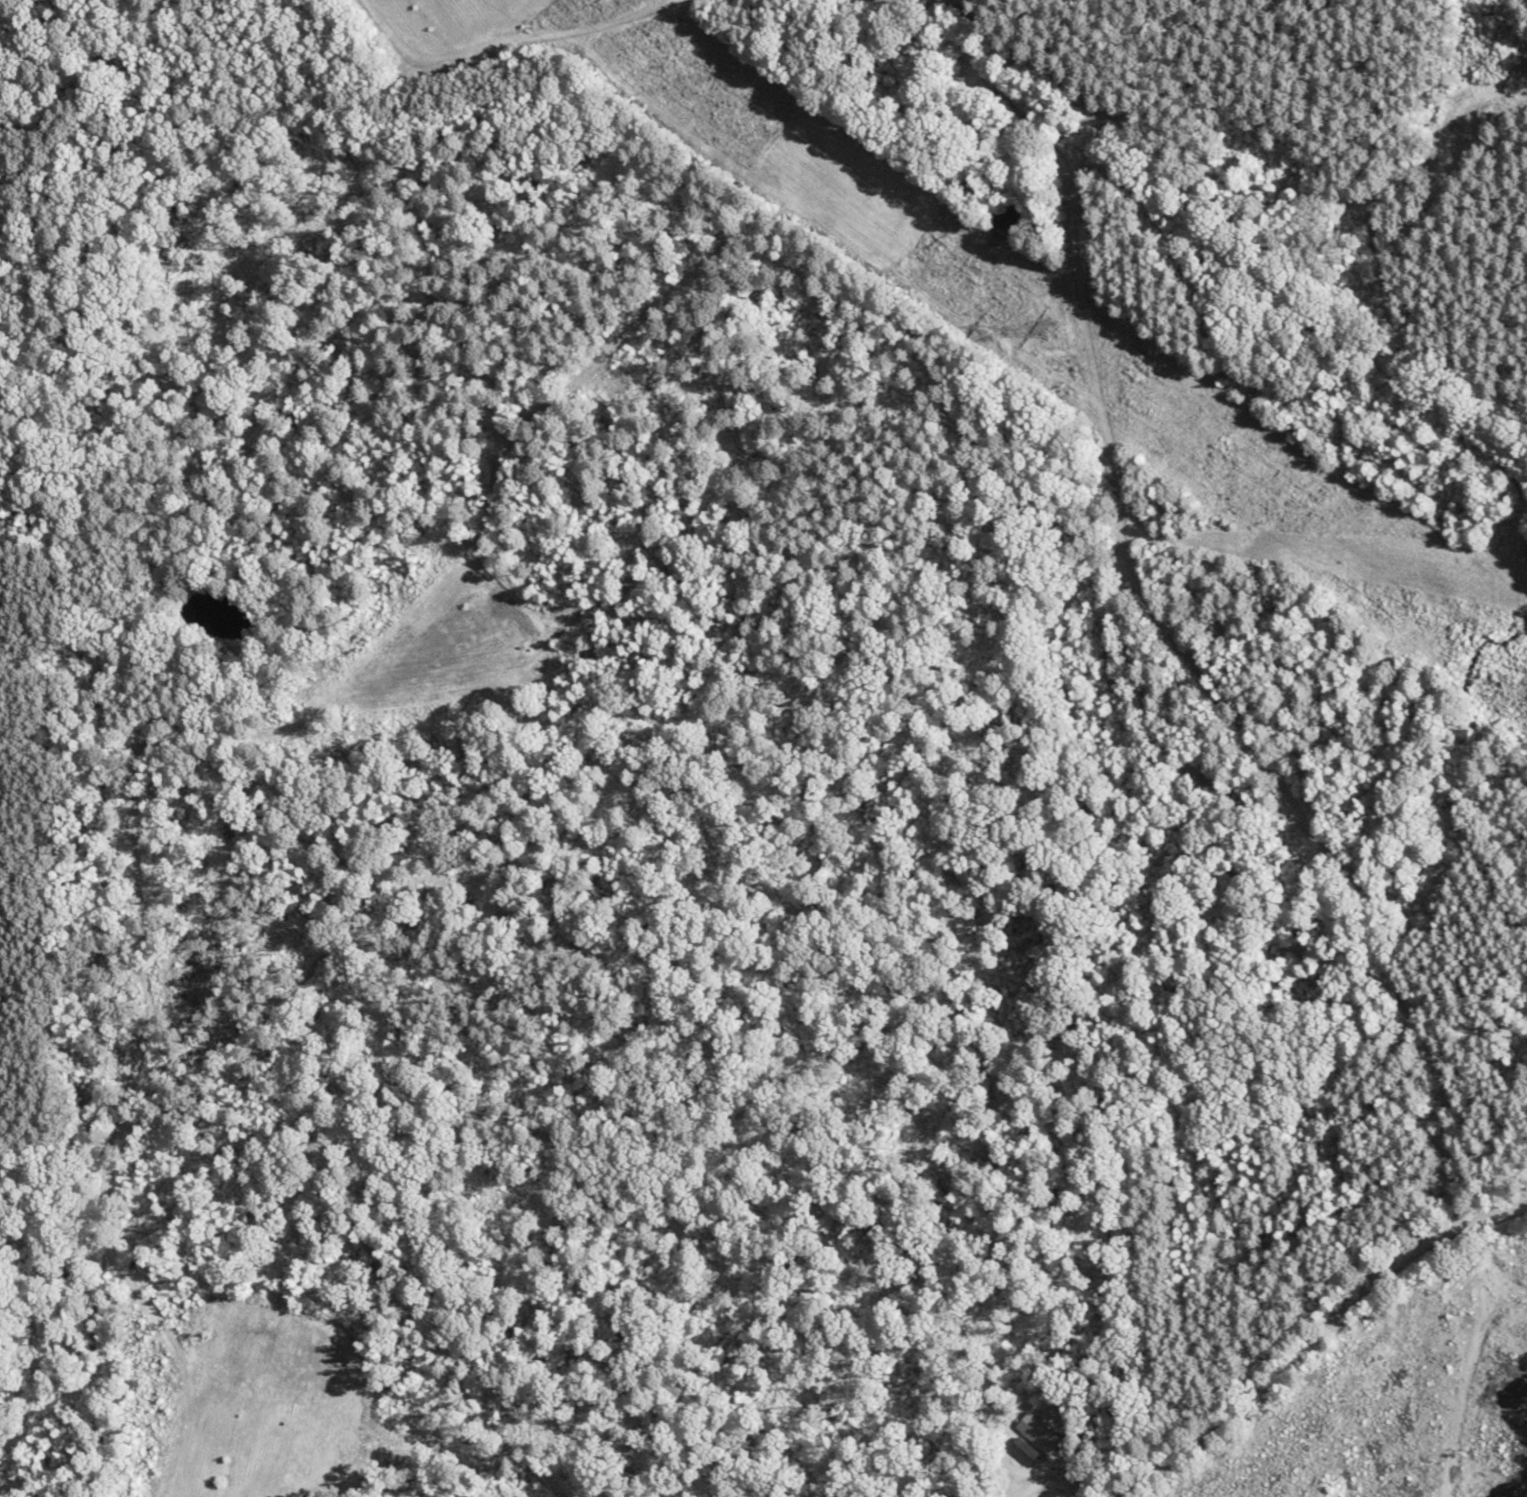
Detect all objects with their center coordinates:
power tower: (1041, 329)
road: (1300, 1323)

